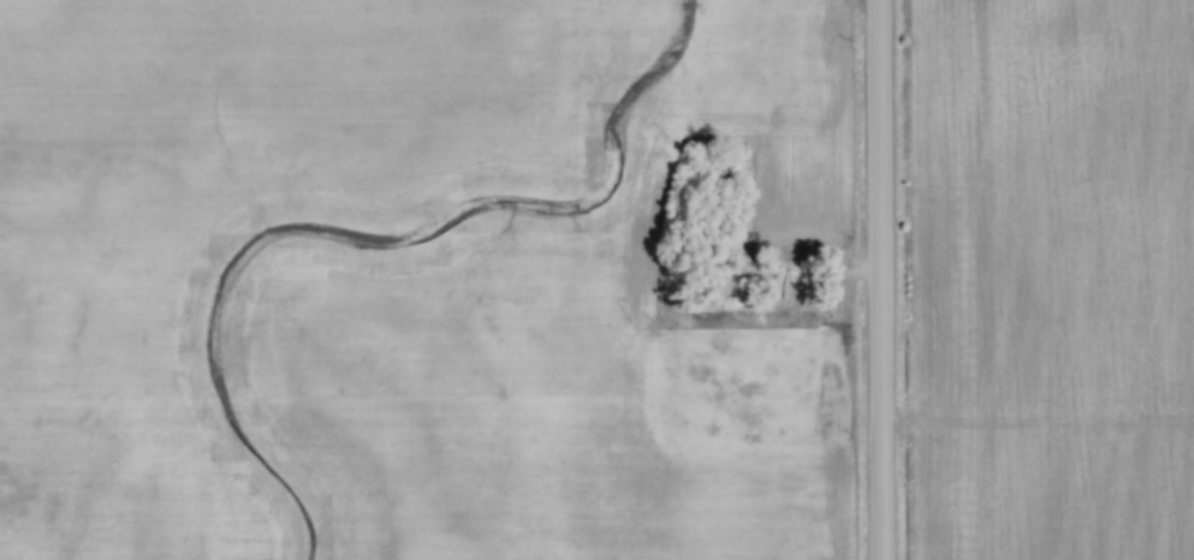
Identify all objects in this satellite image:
road: (878, 280)

